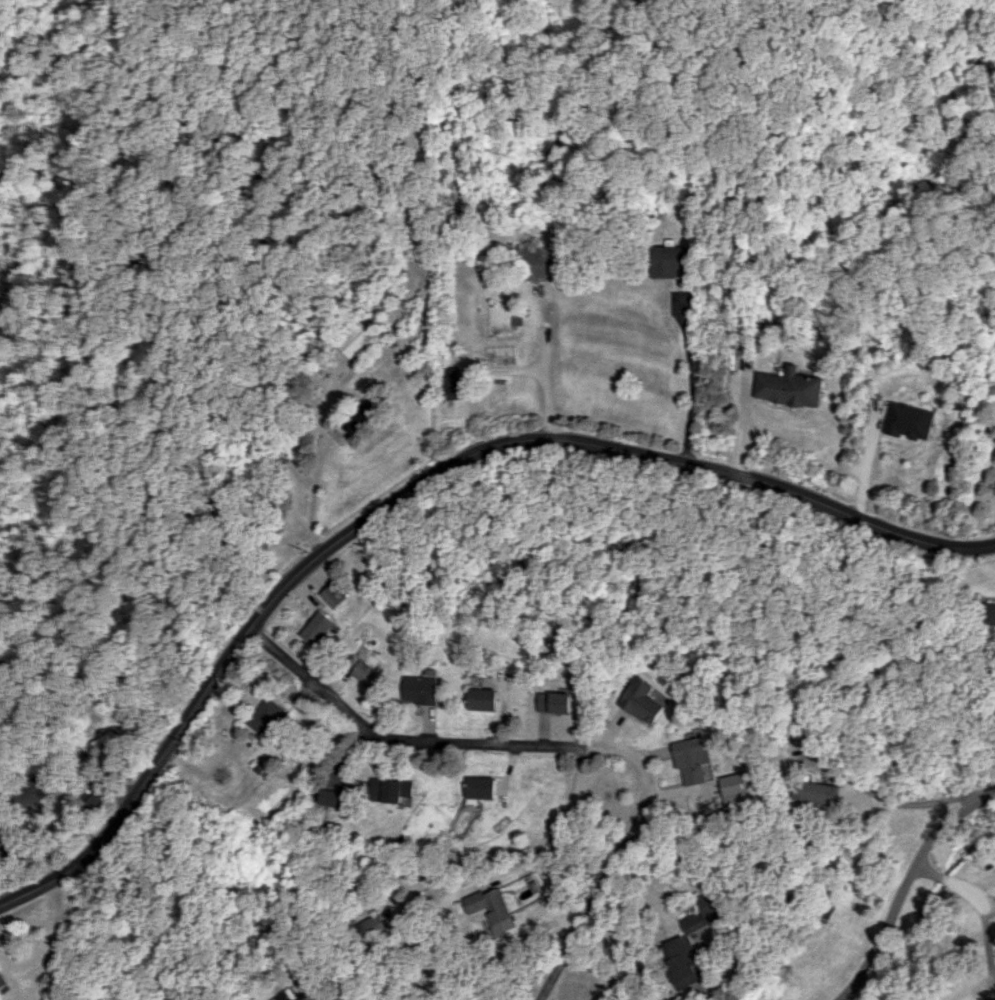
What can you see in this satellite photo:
building: (670, 260)
building: (538, 263)
building: (354, 339)
road: (544, 369)
road: (693, 369)
building: (450, 382)
building: (788, 387)
building: (357, 417)
building: (908, 421)
road: (863, 470)
road: (420, 487)
building: (990, 613)
building: (318, 628)
building: (365, 672)
building: (420, 689)
building: (482, 698)
building: (643, 700)
building: (555, 702)
building: (265, 715)
road: (557, 748)
building: (693, 759)
building: (736, 787)
building: (479, 788)
building: (390, 789)
building: (821, 792)
building: (330, 797)
road: (886, 799)
road: (905, 884)
road: (463, 889)
building: (493, 908)
road: (982, 913)
building: (369, 924)
building: (679, 940)
road: (705, 973)
building: (2, 980)
building: (281, 996)

